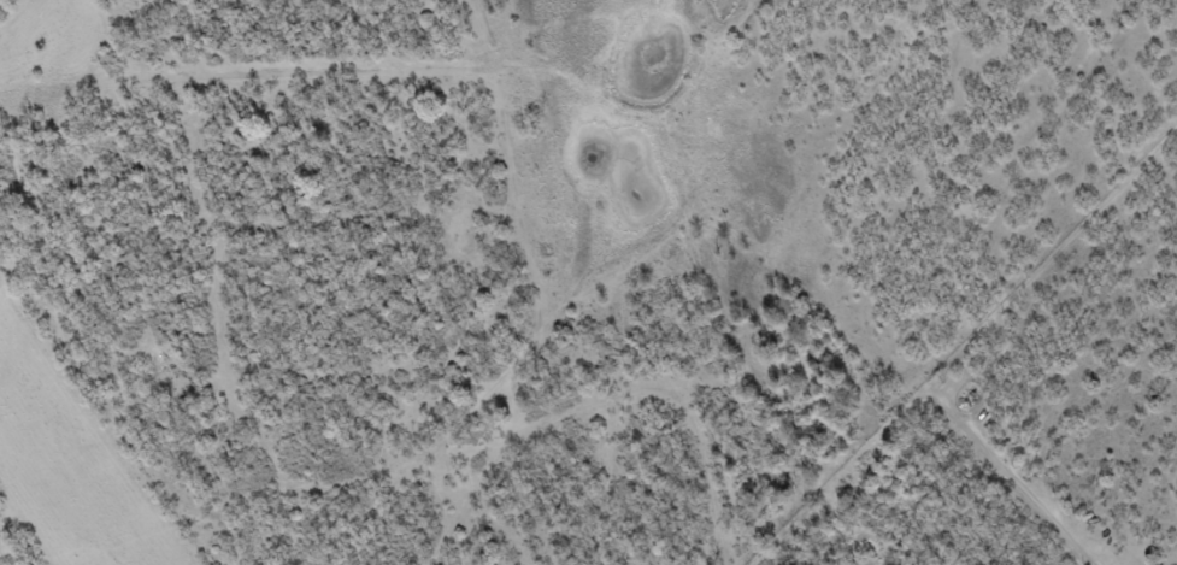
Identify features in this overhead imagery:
road: (18, 18)
road: (413, 71)
road: (623, 269)
road: (532, 322)
road: (867, 348)
road: (213, 357)
road: (626, 400)
road: (100, 417)
crop: (64, 476)
road: (448, 508)

